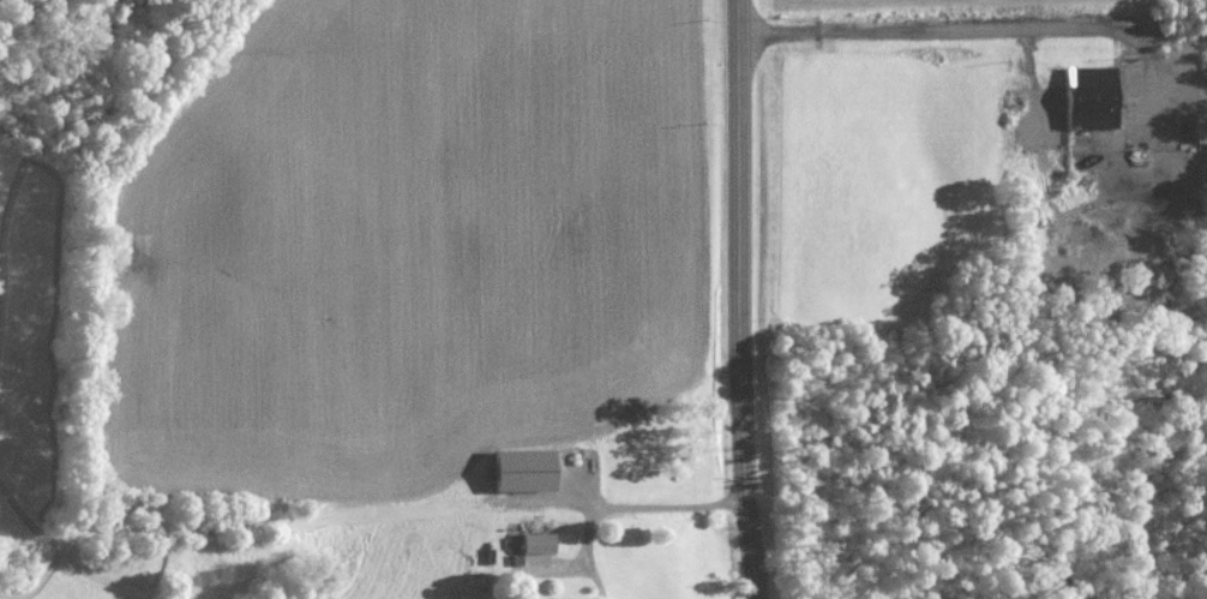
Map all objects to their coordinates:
road: (980, 20)
building: (1087, 97)
building: (1199, 127)
road: (738, 299)
building: (520, 472)
road: (625, 505)
building: (536, 544)

